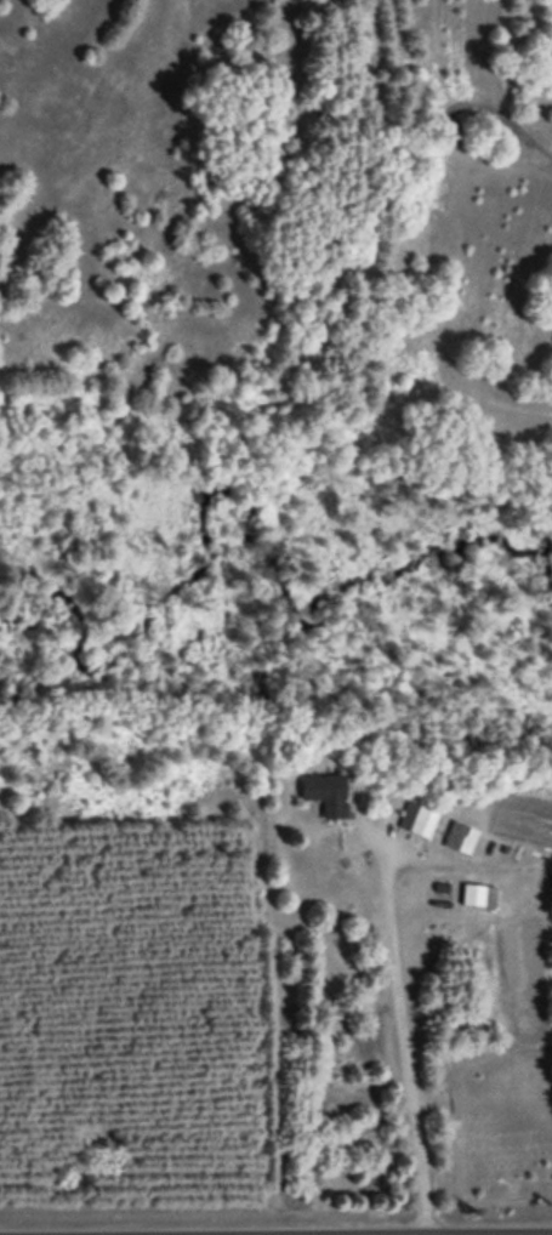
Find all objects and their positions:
building: (329, 791)
building: (419, 816)
building: (460, 835)
road: (275, 1217)

